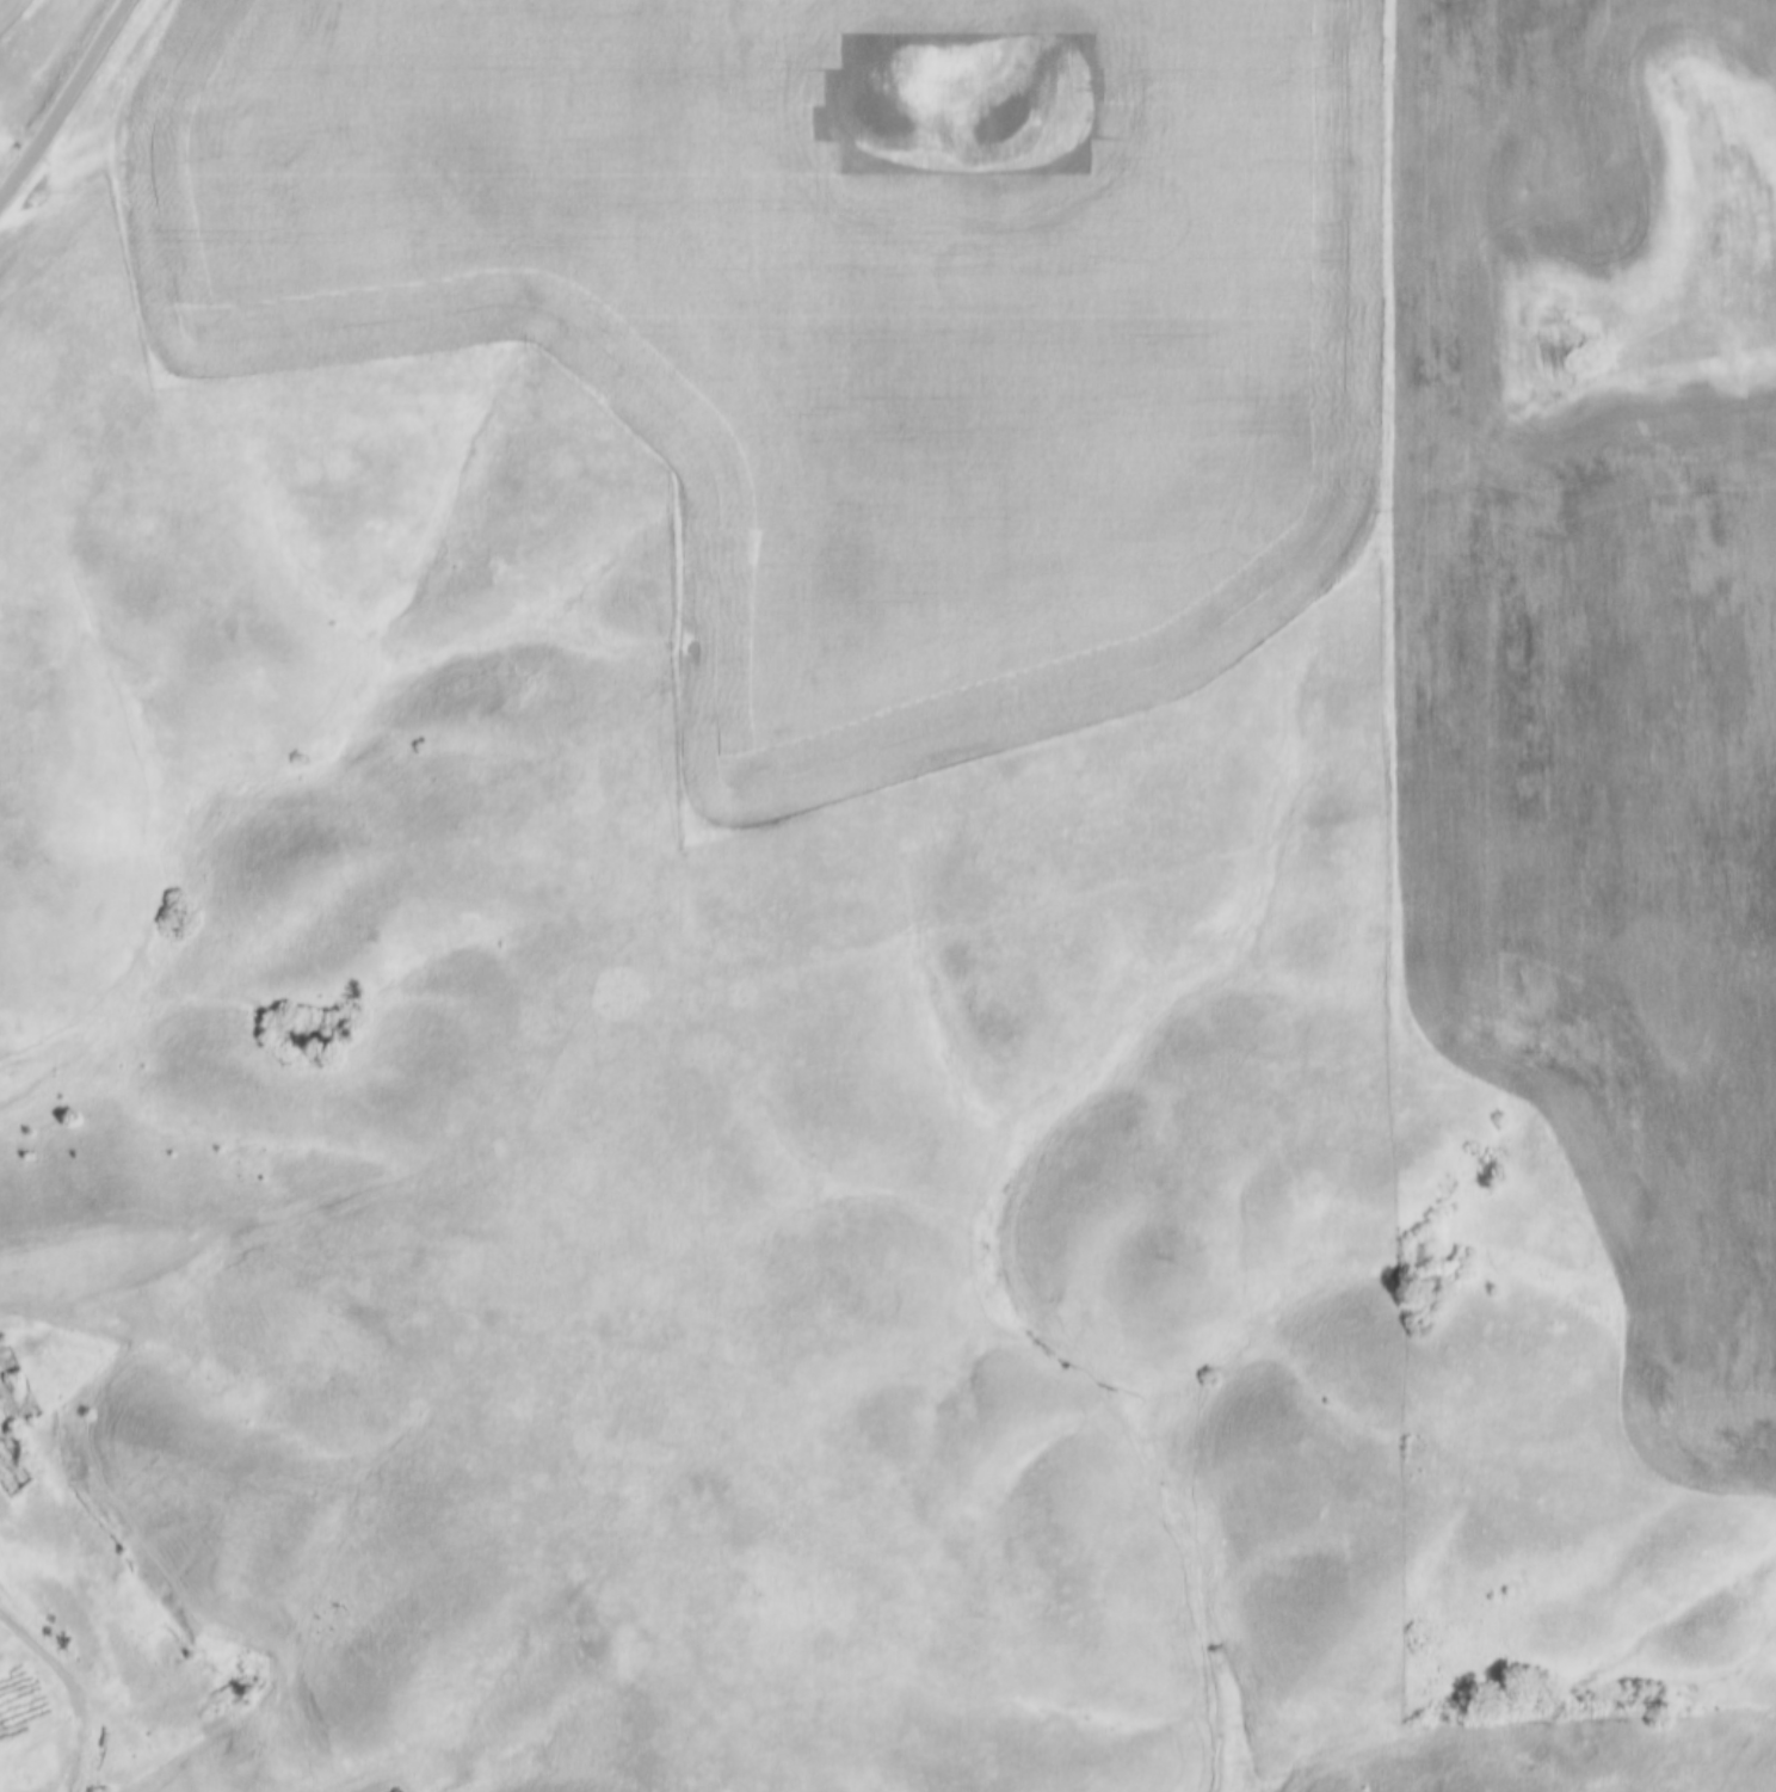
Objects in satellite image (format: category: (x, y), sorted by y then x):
road: (66, 97)
building: (11, 1360)
building: (33, 1414)
building: (10, 1471)
road: (73, 1688)

